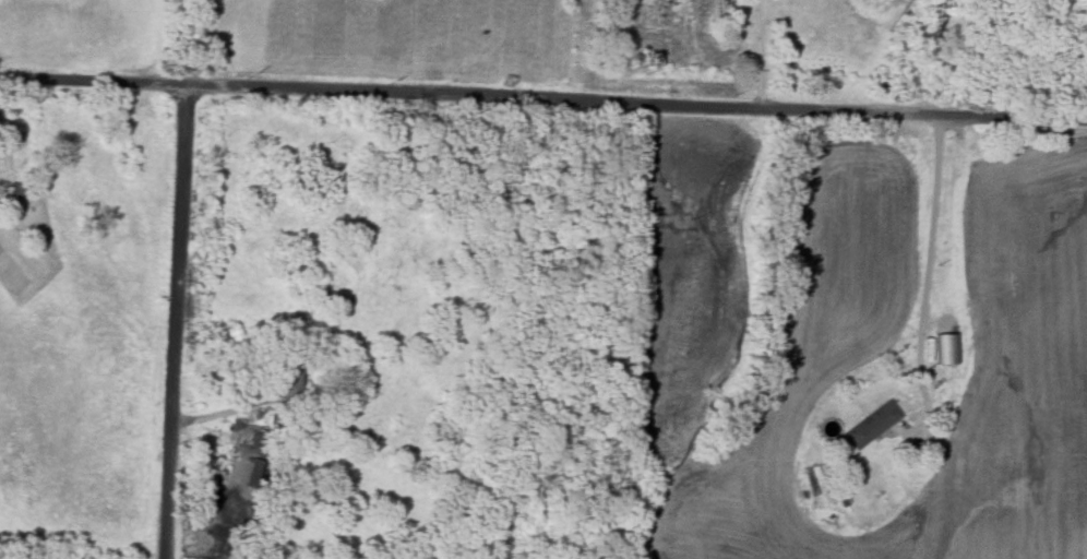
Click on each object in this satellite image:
road: (191, 38)
road: (761, 53)
road: (542, 98)
road: (924, 287)
road: (168, 318)
crop: (849, 336)
road: (217, 413)
building: (872, 424)

